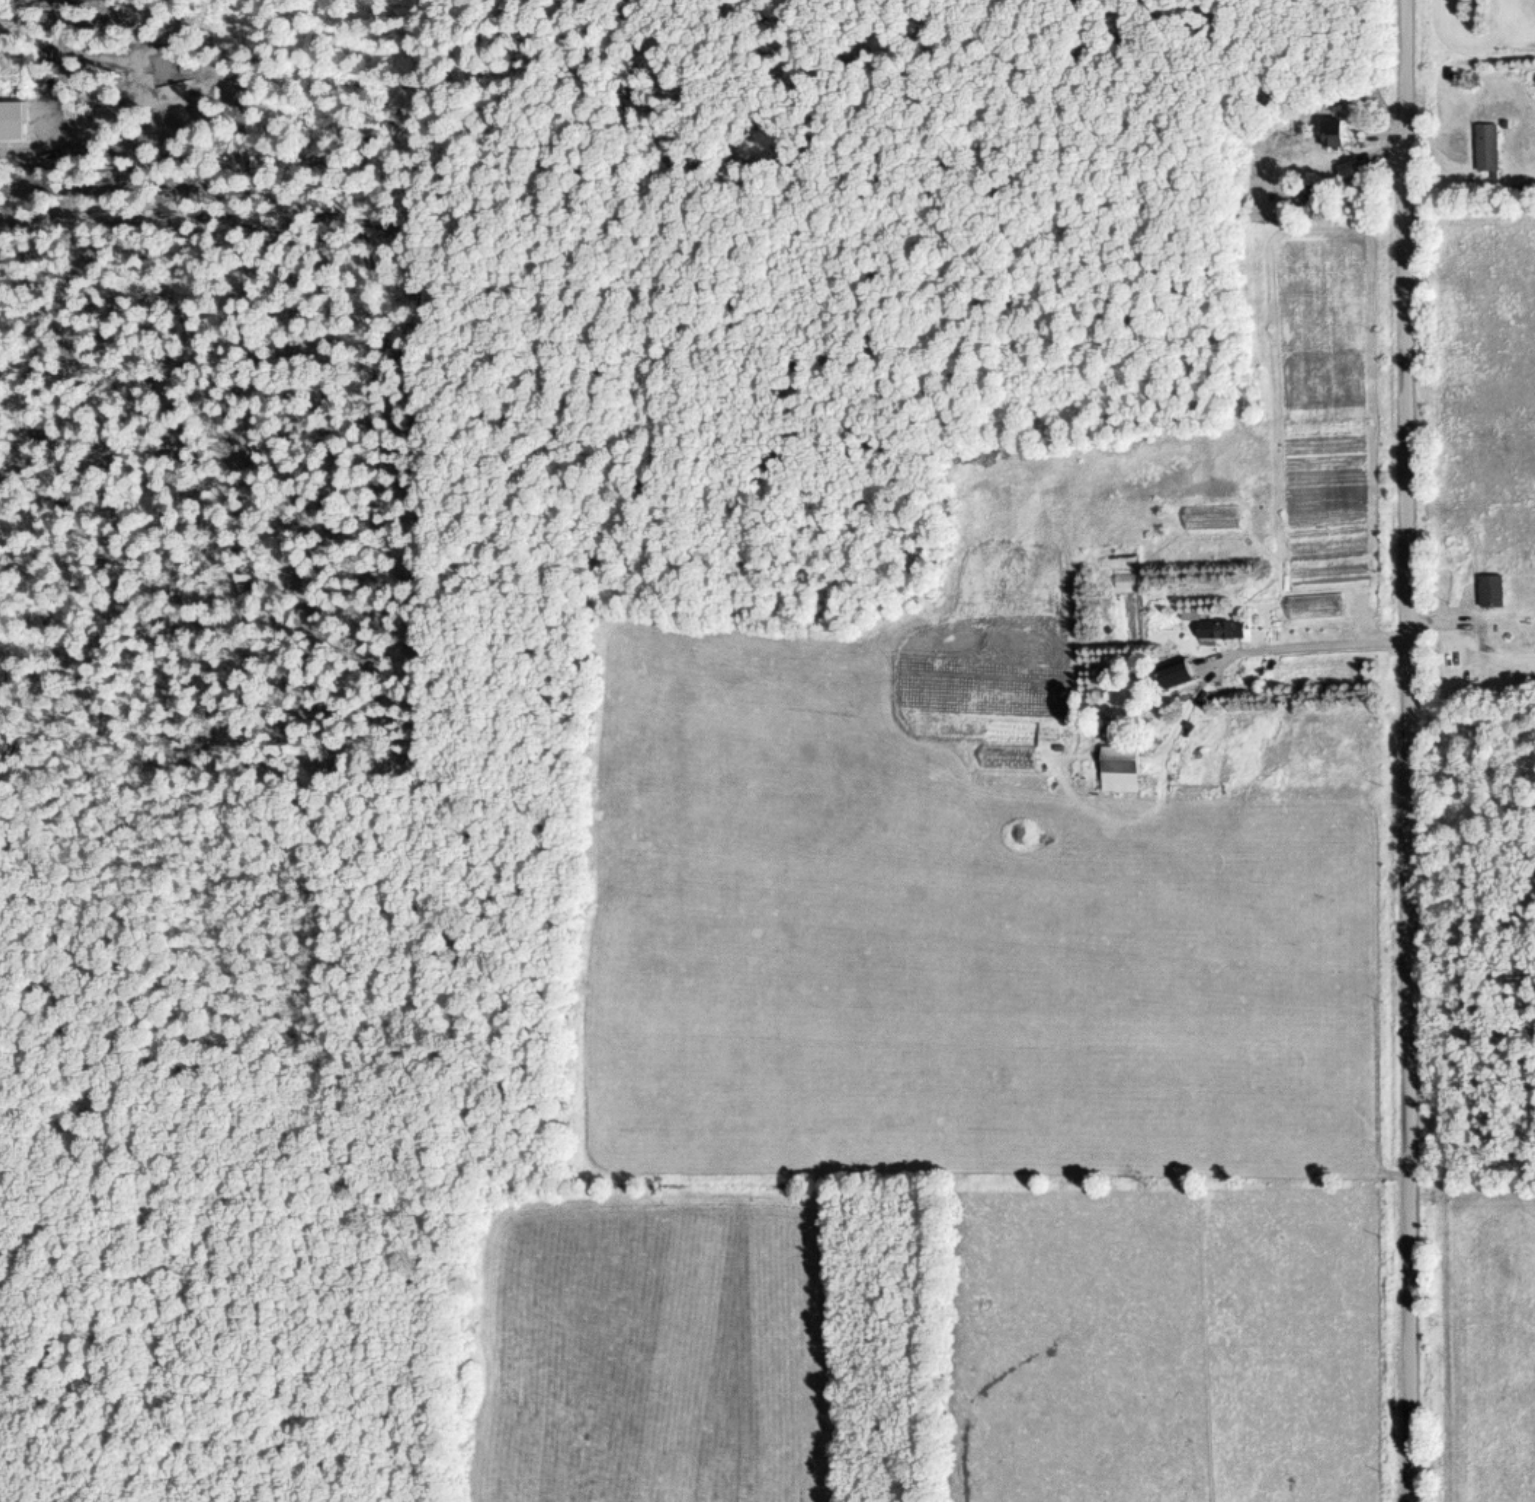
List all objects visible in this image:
building: (1339, 135)
building: (1491, 150)
building: (1488, 593)
building: (1225, 631)
road: (1412, 751)

